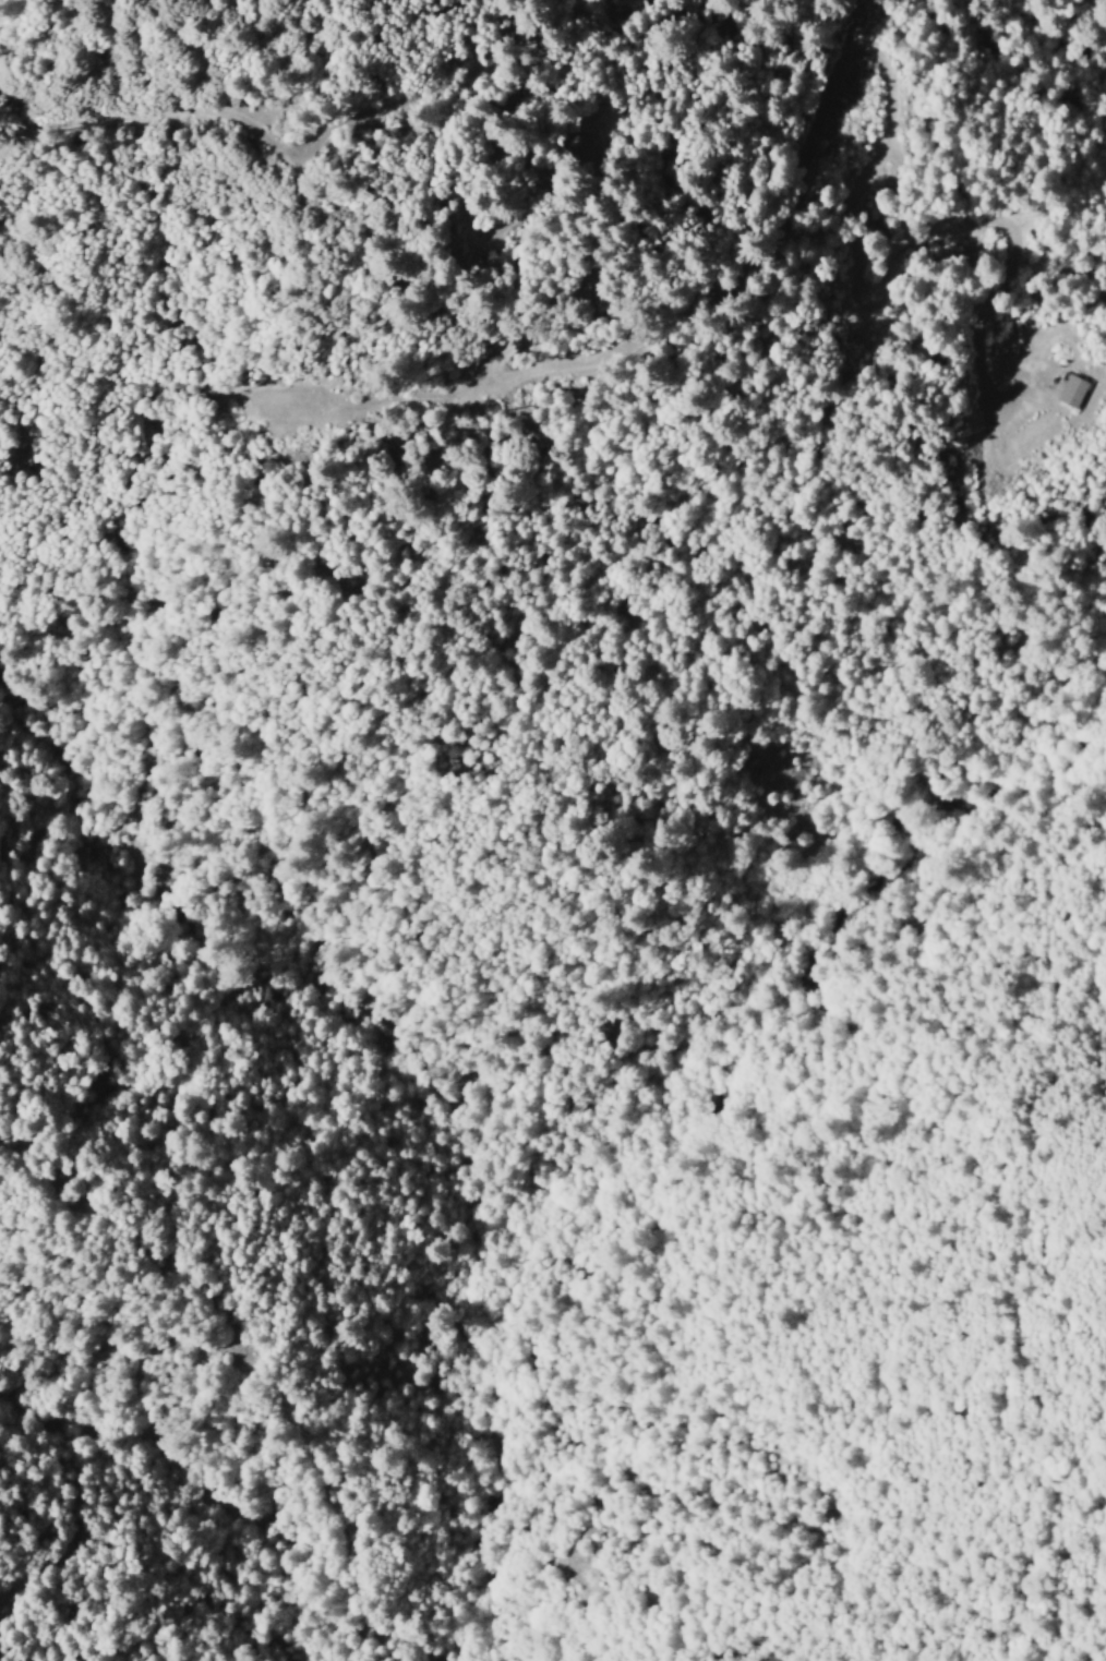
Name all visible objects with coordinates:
building: (1069, 393)

